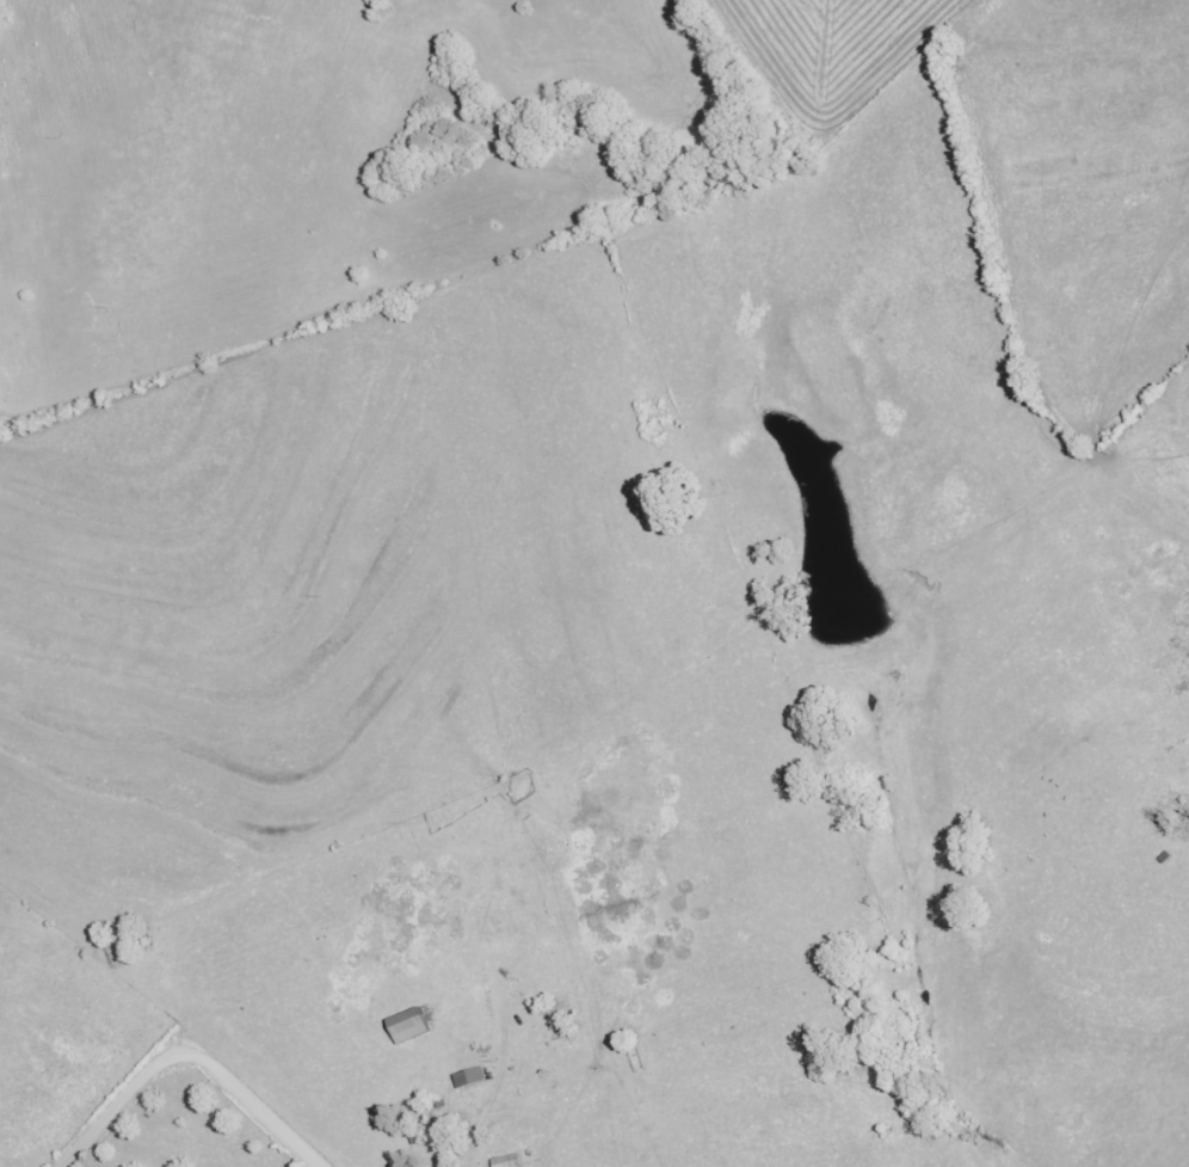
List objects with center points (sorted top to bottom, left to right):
building: (409, 1024)
road: (191, 1052)
building: (472, 1076)

